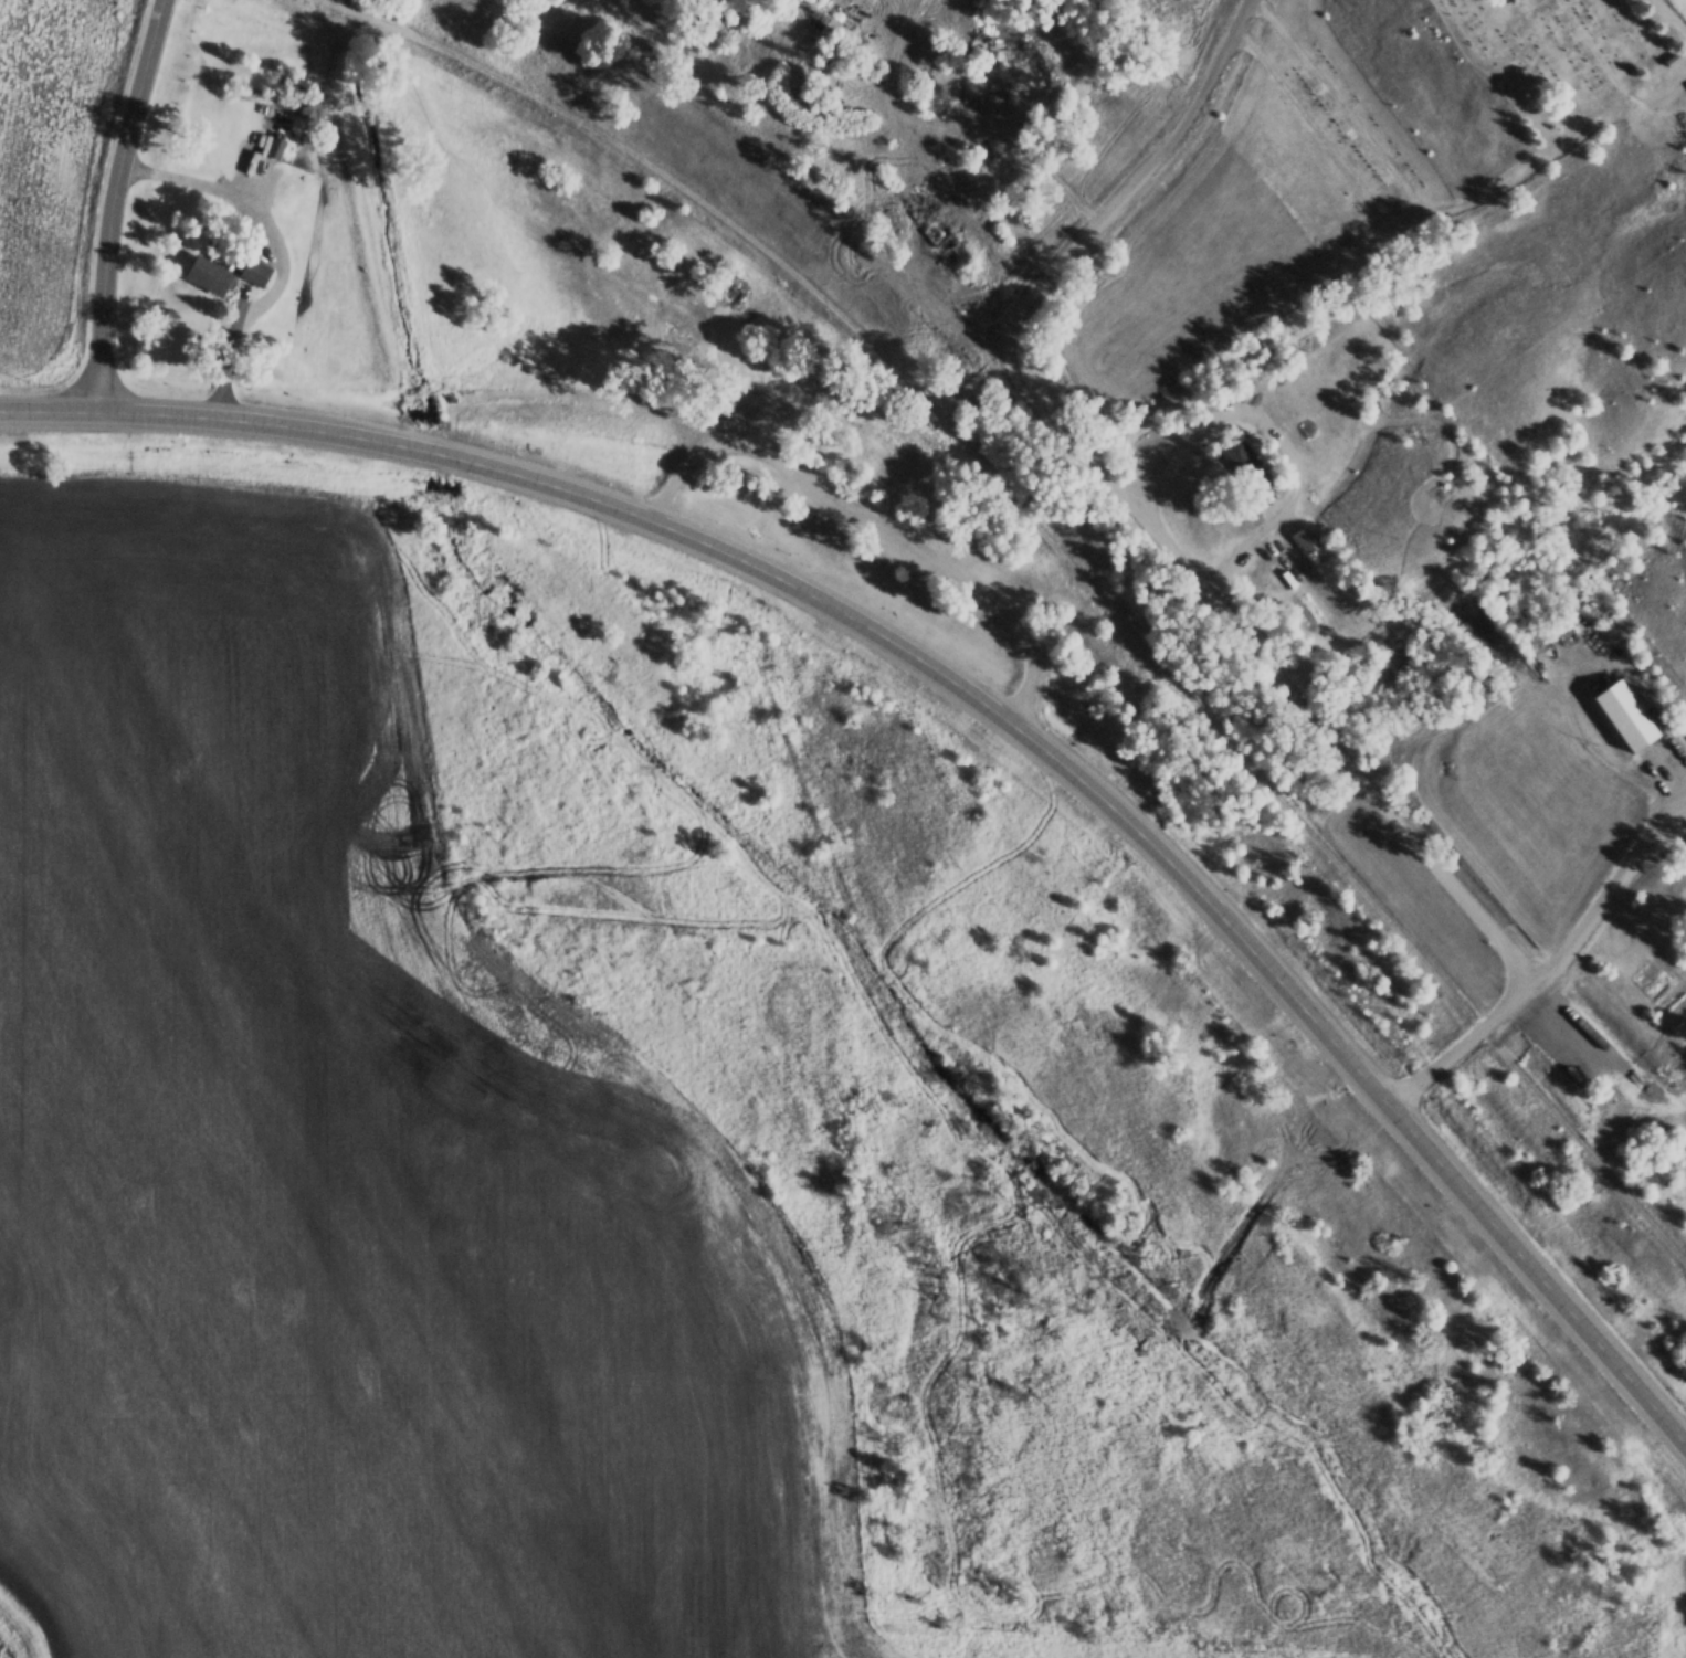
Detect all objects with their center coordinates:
road: (1672, 14)
road: (1601, 60)
road: (1673, 84)
park: (1431, 103)
building: (276, 149)
road: (114, 203)
building: (255, 271)
building: (207, 274)
road: (875, 526)
building: (1317, 530)
building: (1307, 540)
road: (1064, 556)
building: (1343, 560)
road: (1187, 568)
building: (1329, 571)
building: (1287, 581)
road: (969, 694)
building: (1634, 709)
road: (1609, 894)

